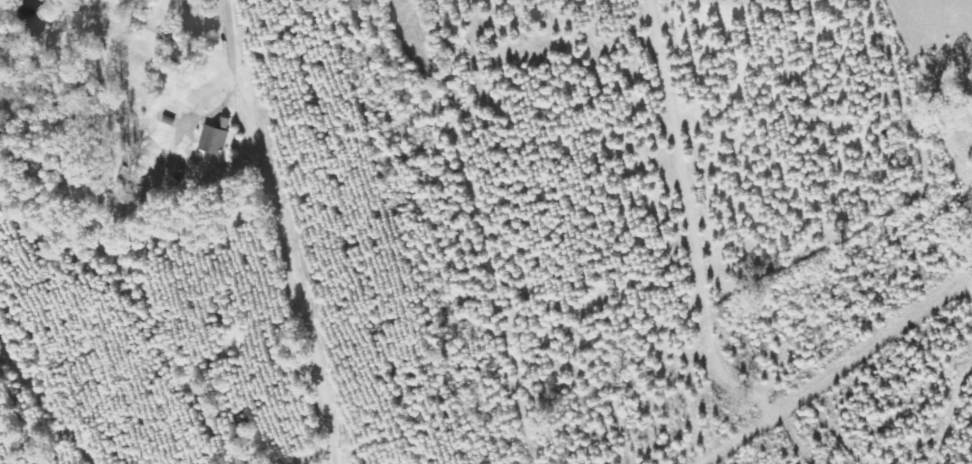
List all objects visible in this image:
building: (214, 138)
road: (731, 172)
road: (324, 229)
road: (791, 335)

